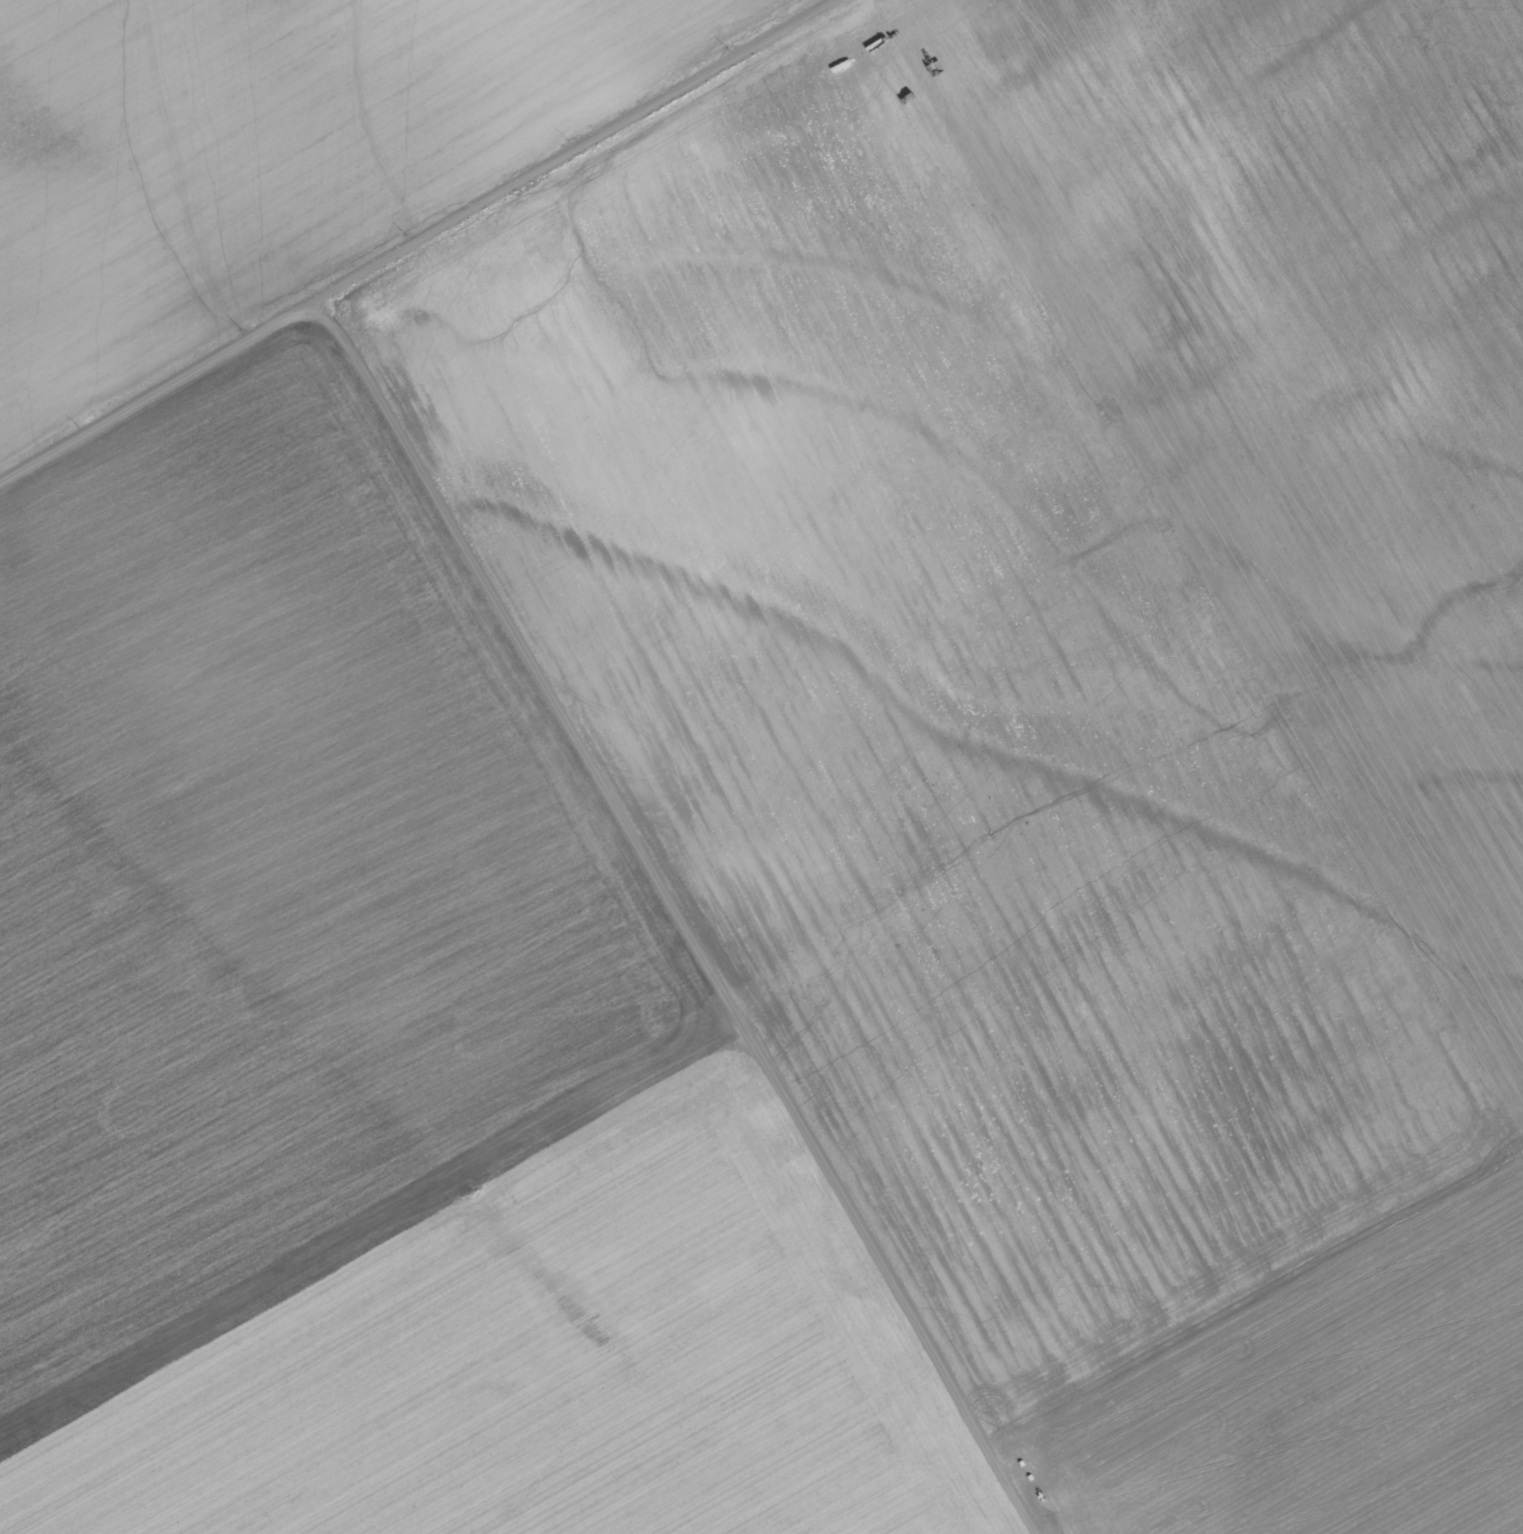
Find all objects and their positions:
road: (405, 235)
road: (679, 909)

